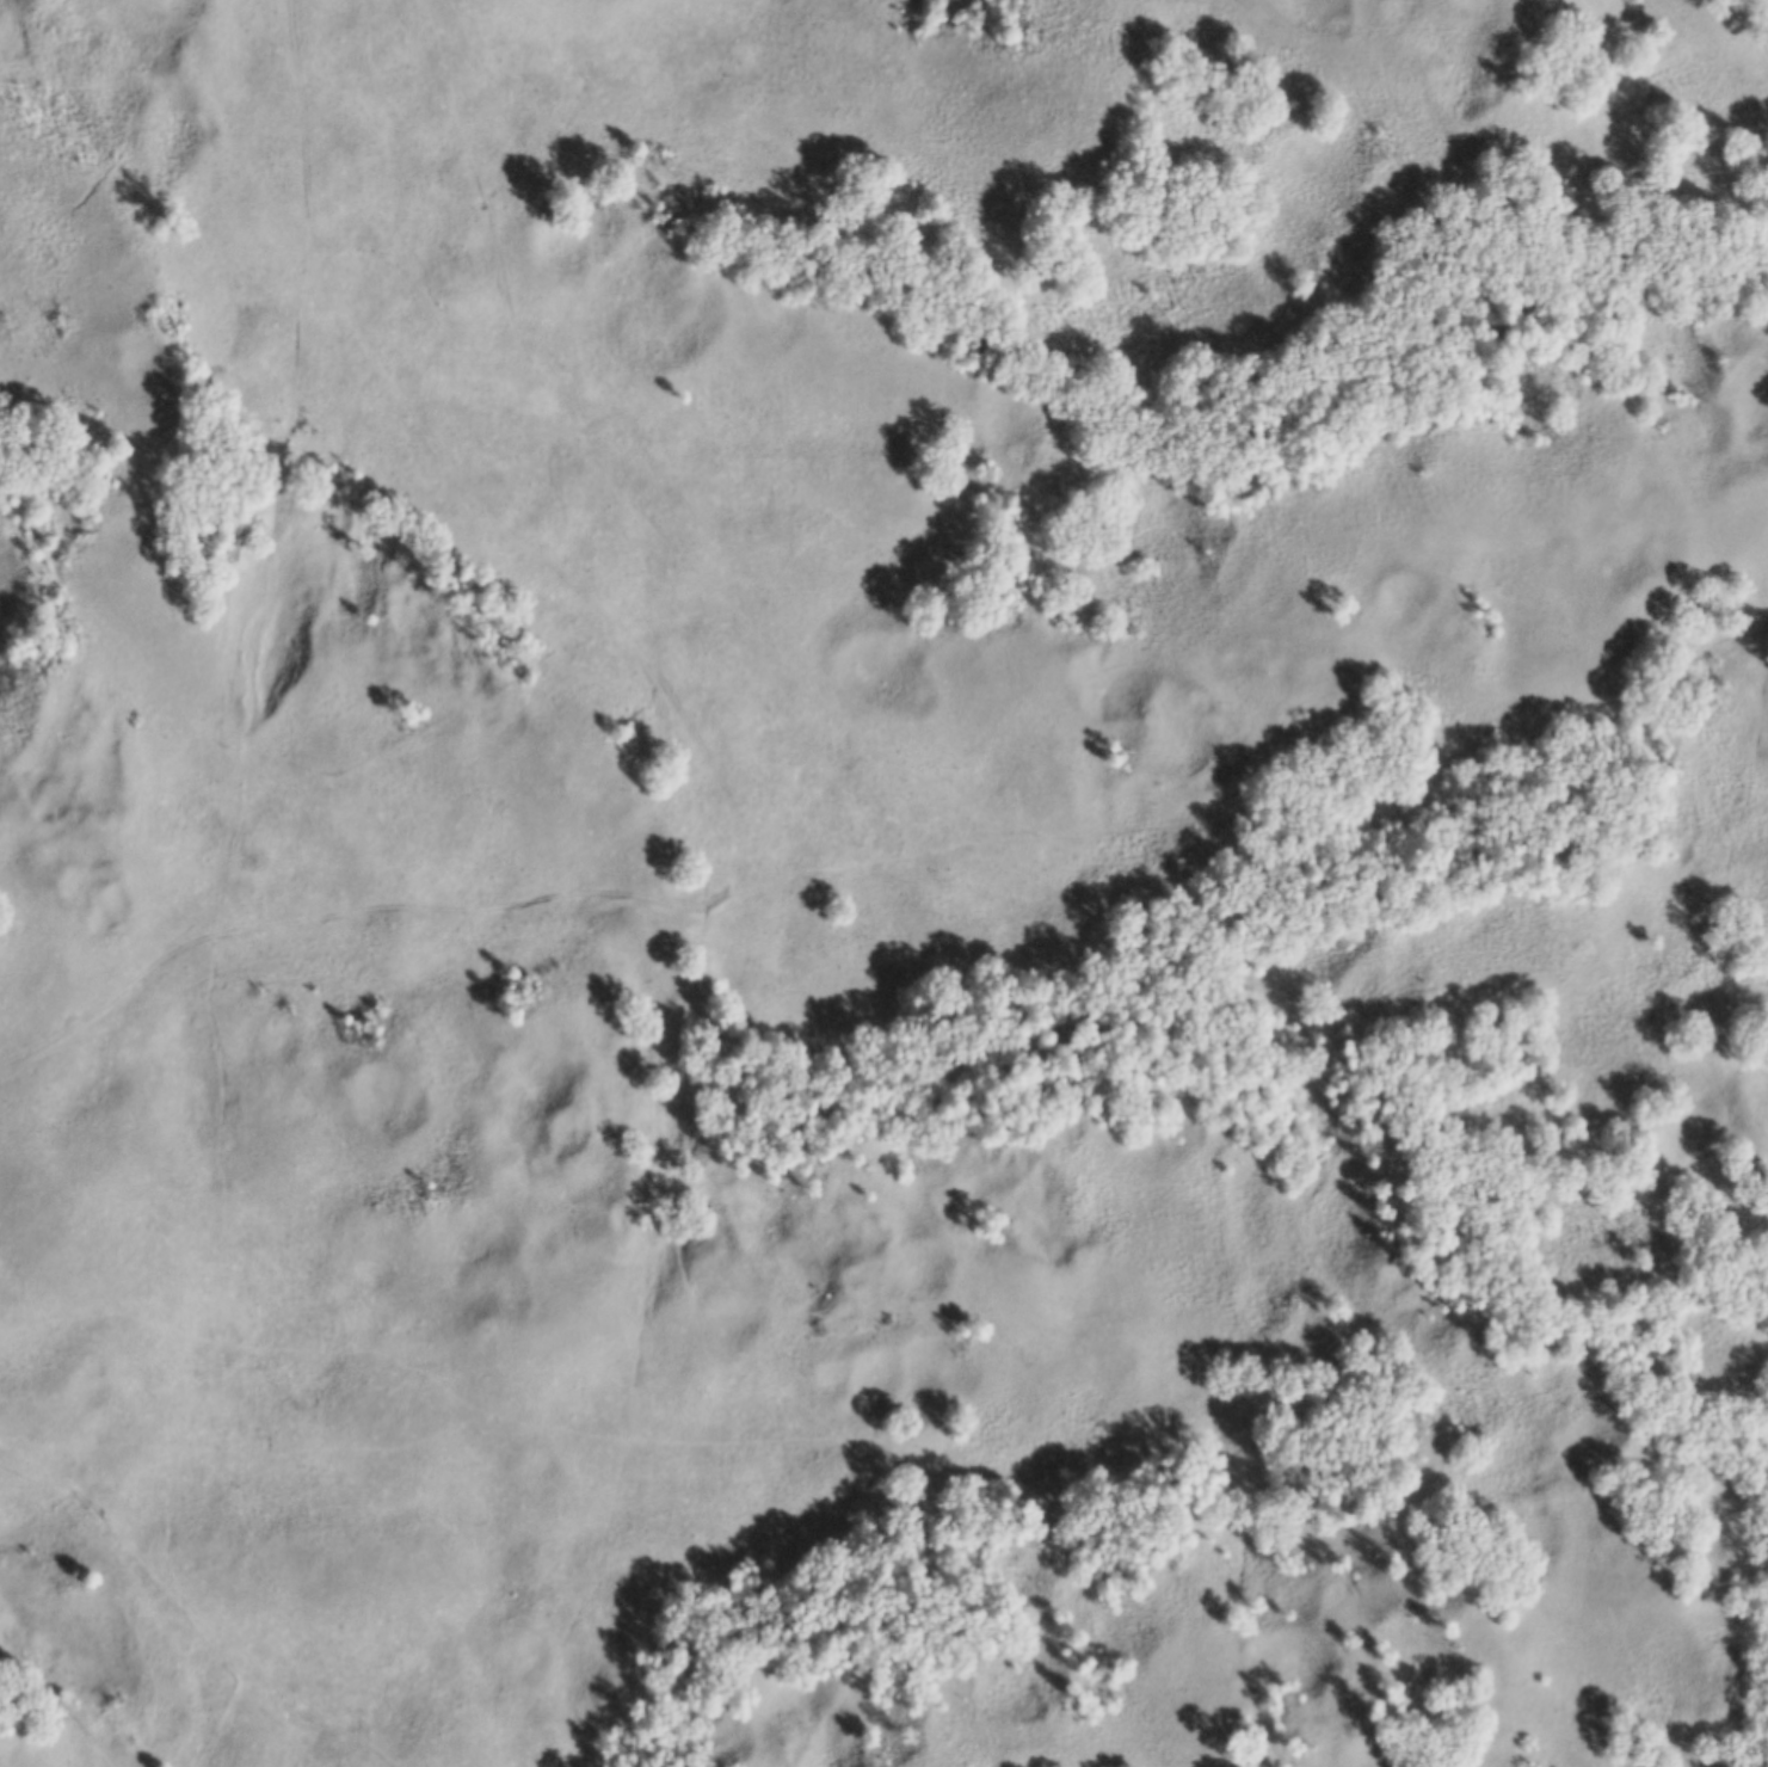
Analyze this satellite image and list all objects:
road: (713, 768)

